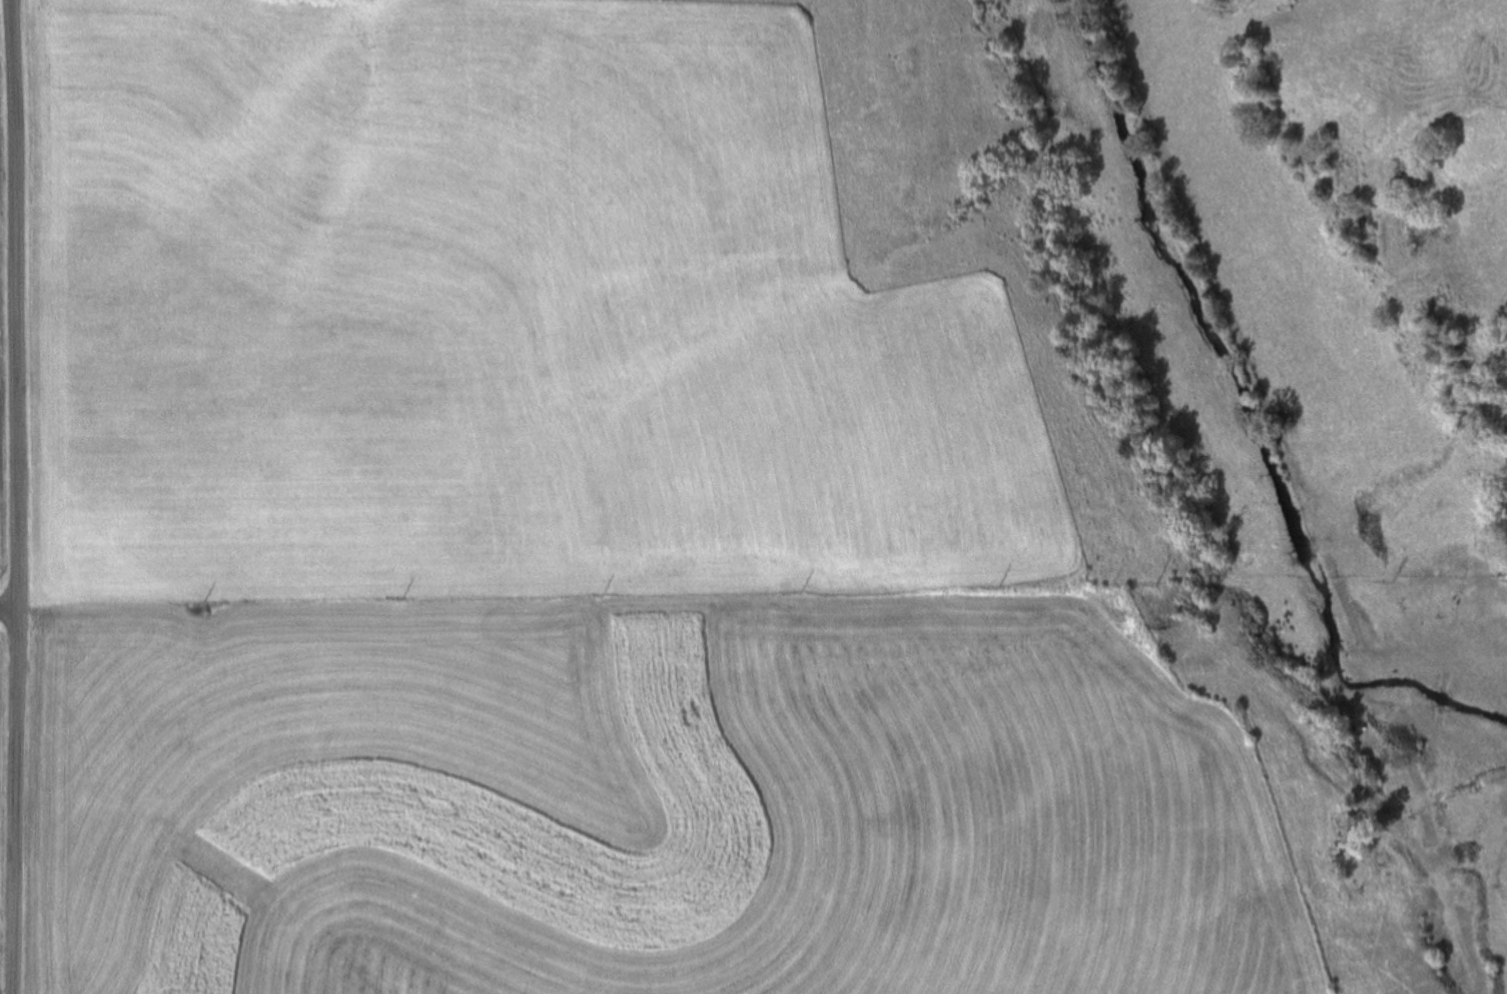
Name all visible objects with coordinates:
road: (18, 496)
road: (10, 607)

